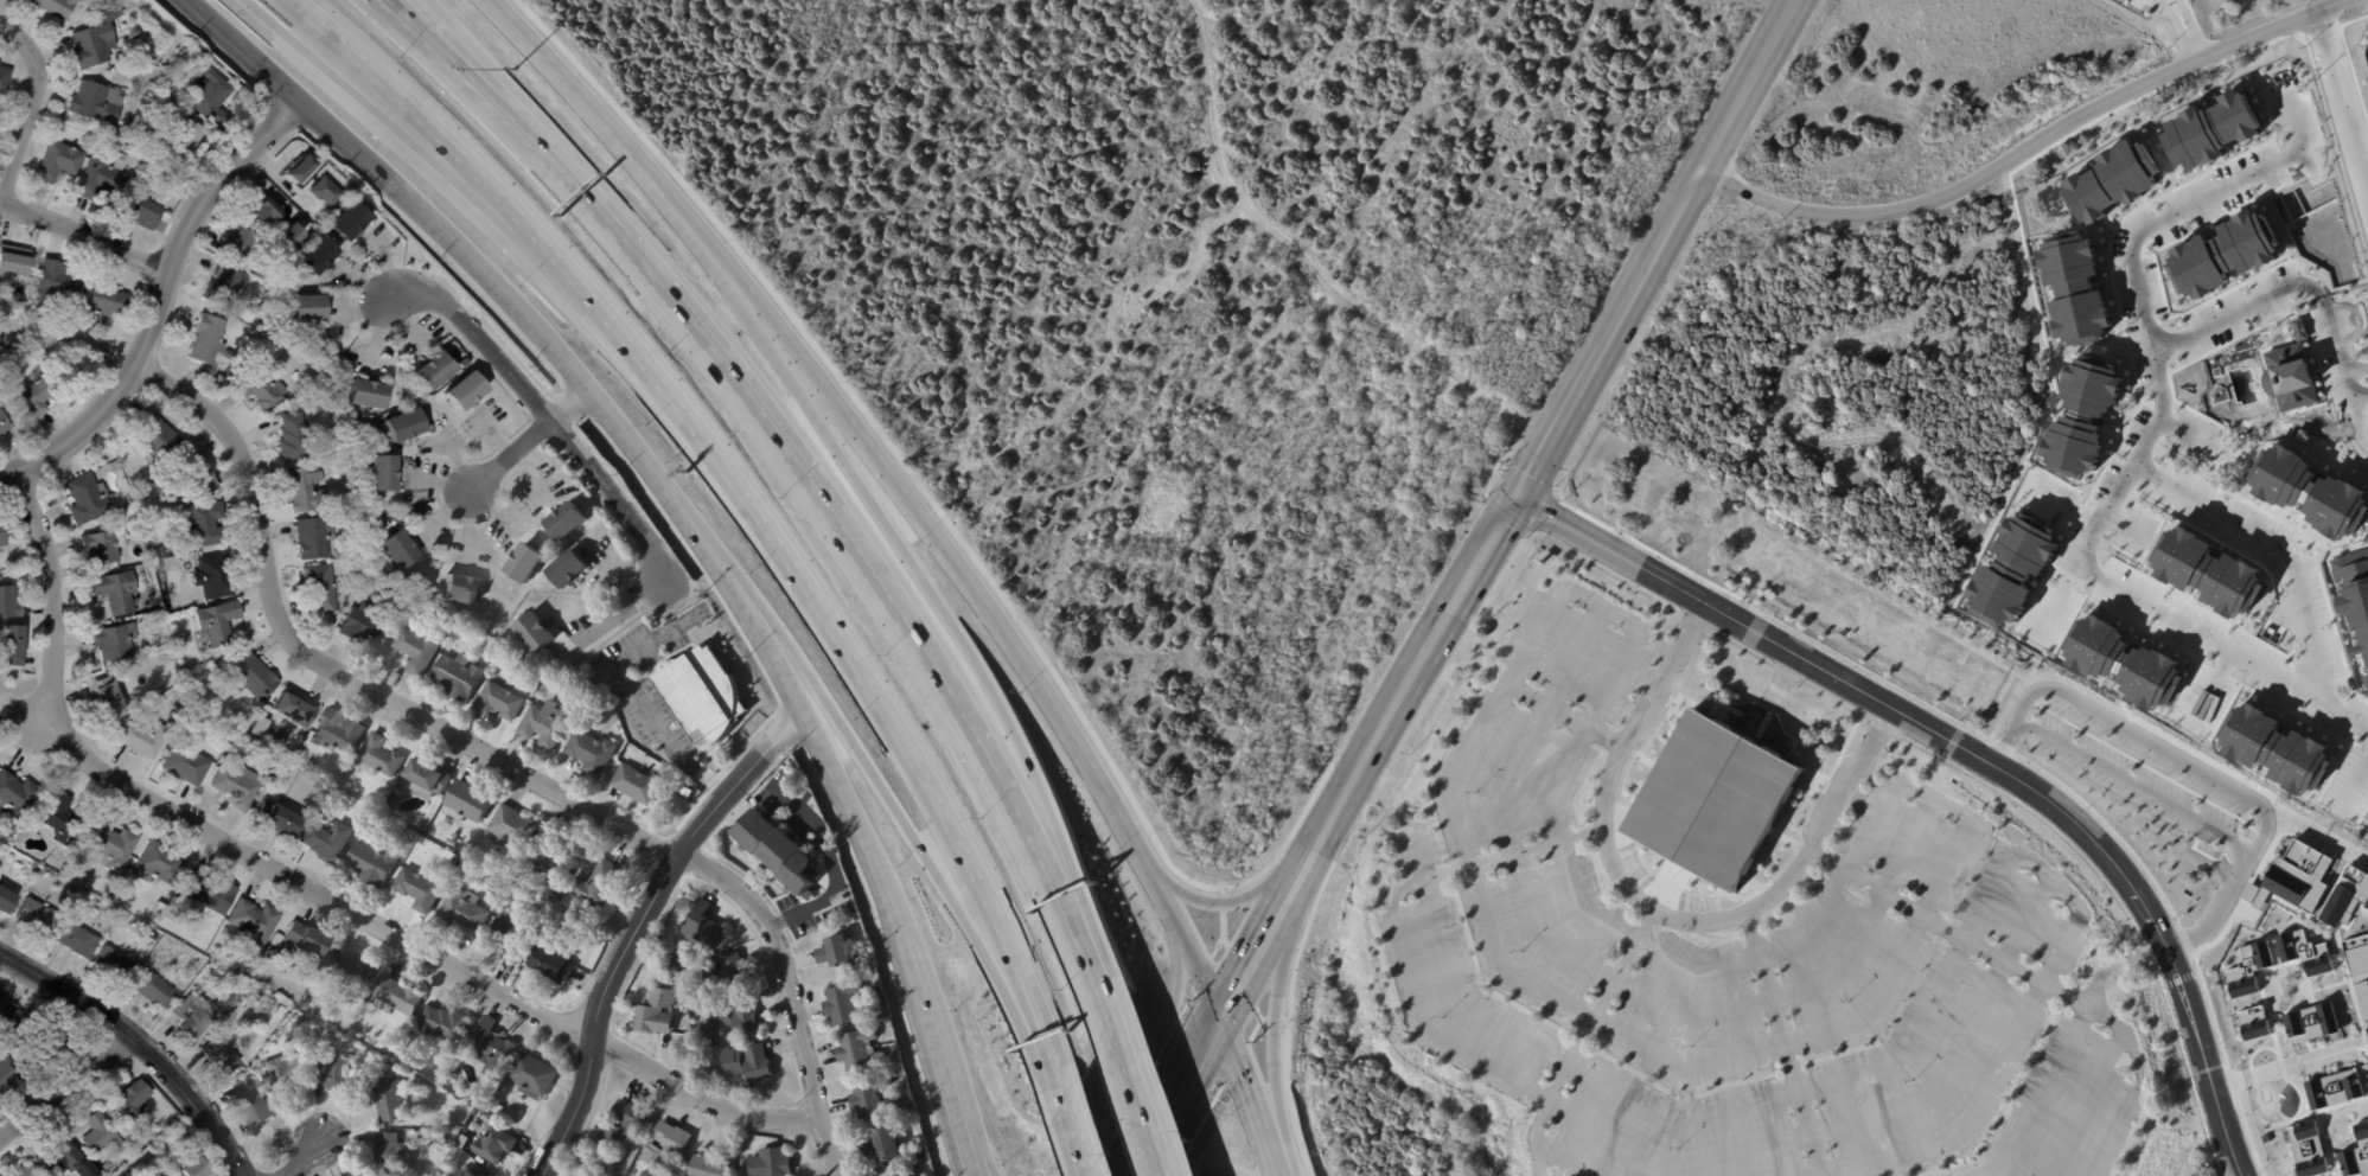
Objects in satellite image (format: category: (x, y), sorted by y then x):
building: (58, 7)
road: (2176, 26)
building: (138, 32)
road: (2323, 32)
building: (97, 37)
building: (199, 56)
road: (2350, 59)
road: (445, 62)
road: (464, 62)
building: (5, 82)
road: (1751, 85)
building: (212, 97)
road: (2342, 97)
building: (100, 101)
road: (27, 108)
road: (2325, 108)
road: (364, 113)
road: (594, 119)
building: (185, 142)
building: (122, 146)
road: (2028, 147)
building: (128, 148)
building: (63, 161)
building: (299, 168)
building: (107, 175)
building: (321, 191)
building: (262, 210)
building: (148, 212)
building: (347, 220)
building: (288, 234)
road: (83, 237)
building: (234, 241)
building: (314, 255)
building: (14, 263)
road: (480, 275)
building: (57, 282)
building: (222, 285)
road: (2281, 289)
building: (101, 301)
road: (158, 301)
building: (304, 308)
building: (70, 313)
building: (1463, 330)
road: (1610, 333)
building: (206, 340)
building: (229, 357)
building: (1415, 369)
road: (2360, 369)
building: (430, 370)
building: (219, 382)
road: (2354, 382)
road: (2362, 389)
building: (260, 390)
building: (462, 391)
building: (43, 394)
building: (365, 395)
building: (293, 402)
road: (2360, 411)
road: (543, 414)
building: (4, 421)
building: (402, 424)
building: (292, 437)
building: (155, 439)
road: (526, 440)
road: (2134, 464)
building: (196, 474)
building: (379, 474)
building: (140, 478)
building: (139, 487)
road: (740, 487)
building: (304, 492)
traffic signals: (1514, 497)
building: (83, 499)
road: (2064, 500)
road: (909, 509)
road: (1543, 511)
building: (351, 513)
building: (566, 522)
building: (376, 523)
building: (203, 524)
road: (844, 529)
building: (376, 533)
building: (312, 538)
building: (0, 543)
road: (2281, 544)
building: (98, 547)
building: (394, 550)
building: (158, 552)
building: (422, 556)
building: (167, 563)
building: (525, 563)
road: (977, 567)
building: (568, 569)
road: (1604, 571)
building: (211, 577)
building: (319, 589)
building: (460, 589)
building: (110, 593)
road: (2057, 594)
building: (149, 595)
road: (1734, 596)
road: (930, 601)
building: (8, 603)
building: (166, 608)
road: (1606, 608)
road: (623, 611)
building: (397, 613)
road: (1694, 624)
building: (212, 625)
building: (365, 629)
building: (534, 633)
building: (110, 643)
building: (7, 646)
building: (415, 651)
road: (772, 652)
building: (486, 653)
building: (208, 660)
building: (212, 667)
building: (251, 678)
building: (457, 678)
building: (549, 682)
road: (1404, 686)
road: (639, 696)
building: (108, 697)
building: (707, 698)
building: (497, 703)
building: (175, 704)
building: (294, 709)
road: (1568, 716)
road: (2017, 721)
road: (39, 723)
building: (542, 727)
road: (1881, 727)
building: (336, 730)
building: (142, 735)
building: (226, 736)
road: (2155, 746)
road: (2003, 747)
road: (1970, 752)
building: (589, 754)
building: (377, 755)
road: (1647, 759)
building: (185, 761)
road: (502, 761)
building: (276, 763)
building: (638, 775)
building: (425, 778)
building: (237, 784)
road: (2140, 786)
building: (15, 795)
building: (1715, 799)
road: (1936, 799)
road: (848, 803)
building: (76, 805)
building: (466, 805)
building: (60, 816)
road: (2035, 816)
building: (276, 819)
road: (906, 824)
road: (1616, 825)
road: (2108, 827)
building: (510, 831)
road: (1129, 831)
road: (2313, 831)
road: (1785, 838)
building: (325, 839)
building: (451, 842)
building: (111, 843)
building: (778, 851)
building: (160, 859)
building: (547, 861)
road: (1495, 863)
building: (371, 865)
building: (74, 867)
building: (451, 867)
road: (837, 869)
road: (1625, 873)
building: (38, 874)
building: (110, 878)
building: (504, 878)
building: (2292, 878)
road: (1596, 883)
road: (2055, 883)
building: (594, 887)
road: (2230, 888)
road: (309, 889)
road: (1607, 890)
building: (416, 891)
building: (122, 893)
building: (206, 895)
building: (2345, 896)
building: (77, 897)
road: (1166, 901)
building: (5, 902)
building: (528, 907)
road: (1224, 907)
building: (158, 909)
road: (1657, 910)
building: (460, 915)
road: (1702, 915)
building: (34, 918)
building: (154, 920)
road: (896, 920)
building: (251, 921)
road: (638, 925)
building: (702, 927)
building: (512, 935)
road: (2185, 940)
building: (74, 941)
road: (1635, 941)
building: (302, 945)
road: (1703, 946)
road: (1258, 947)
building: (835, 952)
building: (2304, 952)
building: (2356, 954)
building: (269, 955)
road: (1997, 955)
road: (2146, 955)
building: (111, 964)
building: (171, 966)
building: (549, 967)
road: (2120, 967)
building: (2248, 969)
building: (349, 971)
road: (1201, 972)
building: (725, 973)
road: (1615, 977)
building: (152, 989)
building: (242, 992)
building: (396, 997)
building: (2362, 998)
road: (1105, 1002)
building: (844, 1005)
building: (306, 1006)
road: (2210, 1010)
building: (656, 1012)
building: (8, 1015)
building: (192, 1016)
building: (734, 1016)
road: (1594, 1018)
traffic signals: (1224, 1021)
building: (2253, 1023)
building: (2310, 1023)
road: (1268, 1024)
building: (441, 1025)
building: (2367, 1030)
road: (1432, 1033)
building: (351, 1034)
road: (1583, 1040)
road: (1786, 1043)
building: (50, 1044)
road: (140, 1044)
building: (490, 1048)
building: (857, 1052)
road: (1147, 1055)
building: (218, 1056)
road: (938, 1057)
building: (748, 1063)
road: (2264, 1073)
building: (283, 1074)
road: (2187, 1074)
building: (8, 1075)
building: (331, 1076)
building: (531, 1078)
road: (2230, 1080)
road: (2227, 1082)
road: (1189, 1084)
road: (66, 1087)
road: (1060, 1088)
road: (1987, 1088)
building: (2332, 1088)
road: (2043, 1092)
road: (1137, 1097)
building: (870, 1098)
road: (1252, 1098)
building: (133, 1099)
building: (388, 1101)
road: (2086, 1101)
building: (498, 1110)
building: (251, 1113)
road: (1853, 1120)
building: (515, 1121)
road: (1698, 1121)
building: (624, 1124)
road: (2117, 1132)
building: (102, 1136)
road: (2247, 1136)
road: (1077, 1138)
building: (2265, 1138)
building: (186, 1143)
building: (461, 1144)
building: (494, 1146)
building: (882, 1146)
building: (665, 1148)
building: (2308, 1149)
building: (391, 1153)
building: (2356, 1153)
building: (63, 1156)
road: (298, 1157)
road: (1148, 1162)
road: (1564, 1162)
building: (770, 1163)
building: (108, 1165)
building: (708, 1165)
building: (196, 1169)
building: (30, 1171)
road: (968, 1171)
road: (970, 1171)
building: (468, 1174)
building: (483, 1174)
road: (1215, 1174)
building: (368, 1175)

